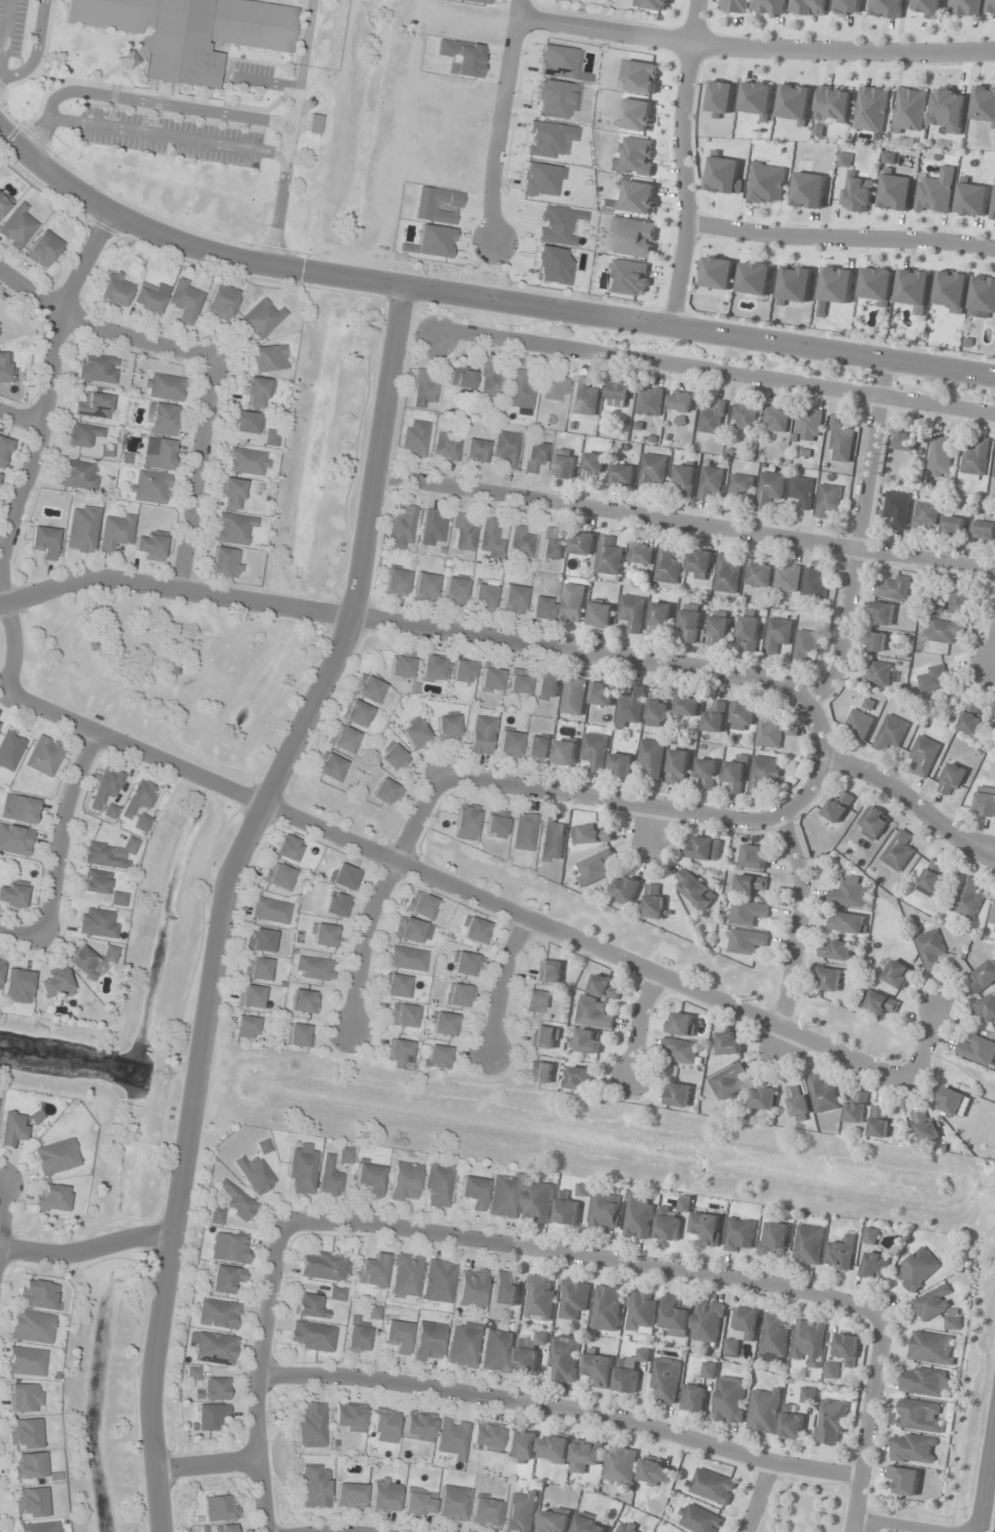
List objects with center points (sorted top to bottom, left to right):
building: (650, 4)
building: (735, 6)
building: (771, 6)
building: (848, 7)
building: (965, 7)
building: (991, 7)
building: (887, 8)
building: (927, 8)
building: (187, 32)
road: (754, 48)
building: (554, 61)
building: (636, 77)
building: (553, 97)
building: (756, 98)
building: (720, 99)
building: (794, 102)
building: (984, 104)
building: (833, 105)
building: (871, 109)
building: (908, 110)
building: (635, 114)
building: (314, 123)
road: (499, 123)
building: (548, 139)
building: (844, 159)
road: (681, 165)
building: (724, 175)
building: (540, 178)
building: (766, 183)
building: (808, 190)
building: (895, 192)
building: (857, 193)
building: (935, 193)
building: (972, 199)
building: (3, 202)
building: (993, 212)
building: (17, 227)
building: (633, 237)
road: (839, 239)
building: (43, 248)
building: (717, 272)
building: (754, 278)
building: (876, 284)
building: (836, 285)
building: (794, 286)
building: (115, 289)
building: (913, 289)
building: (951, 291)
building: (149, 296)
building: (982, 297)
building: (185, 300)
building: (220, 301)
road: (480, 301)
building: (261, 319)
road: (100, 329)
building: (268, 358)
building: (6, 367)
building: (97, 368)
road: (714, 370)
building: (462, 378)
building: (490, 384)
building: (164, 387)
building: (555, 387)
building: (522, 389)
building: (423, 390)
building: (257, 391)
building: (619, 391)
building: (585, 397)
building: (649, 401)
building: (681, 402)
building: (93, 406)
road: (21, 416)
building: (744, 416)
building: (160, 419)
building: (712, 419)
building: (775, 419)
building: (247, 422)
building: (808, 424)
building: (83, 435)
building: (271, 437)
building: (415, 437)
building: (840, 441)
building: (905, 442)
building: (446, 445)
building: (507, 448)
road: (38, 449)
building: (3, 450)
building: (475, 451)
building: (158, 453)
building: (534, 456)
building: (938, 458)
building: (974, 460)
building: (247, 461)
building: (563, 464)
building: (593, 467)
building: (652, 471)
building: (994, 473)
building: (78, 475)
road: (195, 475)
building: (622, 476)
building: (684, 480)
building: (709, 481)
building: (149, 487)
building: (740, 487)
building: (769, 489)
building: (801, 491)
building: (231, 494)
building: (828, 502)
building: (896, 509)
building: (923, 514)
road: (684, 522)
building: (954, 525)
building: (433, 526)
building: (82, 528)
building: (233, 528)
building: (402, 528)
building: (983, 528)
building: (116, 531)
building: (463, 532)
building: (490, 540)
road: (857, 540)
building: (44, 542)
building: (520, 542)
building: (582, 543)
building: (150, 545)
building: (550, 546)
building: (640, 554)
building: (609, 557)
building: (225, 563)
building: (699, 564)
building: (667, 566)
building: (757, 572)
building: (727, 575)
building: (787, 577)
building: (396, 582)
building: (813, 585)
building: (424, 587)
building: (892, 588)
building: (454, 591)
building: (484, 595)
building: (513, 599)
building: (572, 603)
building: (958, 603)
building: (541, 609)
building: (632, 613)
building: (881, 614)
building: (600, 615)
building: (660, 620)
building: (690, 622)
building: (718, 627)
road: (434, 628)
building: (778, 631)
building: (943, 631)
building: (748, 634)
building: (876, 641)
building: (805, 646)
road: (993, 648)
building: (400, 666)
building: (431, 669)
building: (462, 671)
park: (174, 673)
building: (879, 674)
building: (490, 678)
building: (933, 679)
building: (518, 681)
building: (546, 687)
building: (367, 688)
building: (603, 694)
building: (574, 696)
building: (687, 704)
building: (631, 705)
building: (744, 713)
building: (357, 714)
building: (971, 717)
building: (715, 718)
building: (858, 724)
building: (447, 728)
building: (768, 729)
building: (891, 733)
building: (415, 734)
building: (481, 735)
building: (343, 739)
building: (509, 744)
building: (537, 749)
building: (10, 750)
building: (595, 751)
building: (565, 753)
building: (924, 755)
building: (44, 756)
building: (651, 757)
building: (393, 758)
building: (621, 763)
building: (678, 767)
building: (331, 768)
building: (706, 772)
building: (763, 773)
building: (736, 774)
building: (951, 778)
building: (106, 787)
building: (386, 793)
road: (902, 797)
building: (139, 799)
road: (597, 799)
building: (985, 802)
building: (837, 808)
building: (18, 809)
building: (110, 813)
building: (465, 822)
building: (142, 823)
building: (873, 823)
building: (495, 824)
road: (61, 831)
building: (524, 831)
building: (594, 834)
building: (15, 840)
building: (551, 841)
road: (987, 845)
building: (287, 848)
building: (705, 849)
building: (898, 851)
building: (110, 854)
road: (986, 856)
building: (752, 857)
building: (594, 868)
building: (279, 876)
building: (344, 877)
building: (932, 879)
building: (95, 881)
building: (749, 884)
road: (456, 889)
building: (625, 890)
building: (695, 890)
building: (850, 893)
building: (12, 896)
road: (224, 897)
building: (118, 899)
building: (969, 899)
building: (653, 904)
building: (335, 905)
building: (421, 905)
building: (270, 910)
building: (747, 913)
road: (795, 918)
building: (994, 920)
building: (846, 922)
building: (97, 923)
building: (474, 930)
building: (412, 931)
road: (23, 932)
building: (323, 935)
building: (260, 940)
road: (363, 942)
building: (746, 942)
building: (930, 949)
building: (836, 951)
building: (407, 959)
building: (90, 961)
building: (465, 964)
building: (0, 965)
building: (313, 968)
building: (258, 969)
building: (548, 971)
building: (897, 974)
building: (982, 977)
road: (500, 979)
building: (828, 979)
building: (55, 984)
building: (17, 986)
building: (396, 986)
building: (604, 987)
building: (459, 995)
building: (252, 997)
building: (302, 1001)
building: (535, 1002)
building: (878, 1002)
building: (987, 1009)
building: (404, 1015)
building: (593, 1015)
road: (636, 1019)
building: (443, 1024)
building: (680, 1024)
building: (245, 1027)
building: (298, 1035)
building: (544, 1037)
road: (776, 1039)
road: (925, 1040)
building: (585, 1041)
building: (728, 1043)
building: (977, 1050)
building: (680, 1051)
building: (398, 1053)
building: (437, 1056)
building: (539, 1072)
building: (577, 1078)
building: (728, 1082)
building: (822, 1094)
building: (678, 1095)
building: (763, 1098)
building: (797, 1101)
building: (953, 1103)
building: (856, 1109)
building: (878, 1124)
building: (11, 1128)
building: (926, 1129)
building: (263, 1146)
building: (345, 1154)
building: (56, 1157)
building: (302, 1170)
building: (254, 1174)
road: (1, 1178)
building: (329, 1178)
building: (369, 1179)
building: (404, 1182)
building: (438, 1183)
building: (473, 1192)
building: (505, 1196)
building: (51, 1198)
building: (237, 1201)
building: (538, 1202)
road: (3, 1203)
building: (565, 1210)
building: (604, 1212)
building: (216, 1216)
building: (638, 1217)
building: (667, 1226)
building: (707, 1228)
building: (739, 1234)
building: (870, 1236)
building: (772, 1239)
building: (808, 1245)
road: (85, 1247)
building: (230, 1248)
building: (841, 1254)
road: (584, 1257)
building: (875, 1265)
building: (322, 1266)
building: (917, 1270)
building: (372, 1271)
building: (405, 1276)
building: (224, 1279)
building: (438, 1282)
building: (471, 1288)
building: (504, 1290)
building: (336, 1293)
building: (38, 1294)
building: (539, 1299)
building: (573, 1299)
building: (309, 1307)
building: (606, 1308)
building: (937, 1308)
building: (641, 1313)
building: (217, 1314)
building: (675, 1316)
building: (707, 1322)
building: (32, 1327)
building: (742, 1330)
building: (397, 1335)
building: (774, 1335)
building: (312, 1336)
building: (356, 1336)
building: (427, 1341)
building: (809, 1343)
building: (463, 1344)
building: (214, 1348)
building: (930, 1348)
building: (847, 1349)
building: (496, 1351)
building: (524, 1358)
building: (564, 1360)
building: (25, 1361)
building: (598, 1370)
building: (708, 1370)
building: (629, 1371)
building: (831, 1371)
road: (257, 1377)
building: (665, 1381)
building: (925, 1382)
building: (212, 1389)
building: (808, 1395)
building: (25, 1398)
building: (693, 1398)
building: (730, 1401)
road: (561, 1408)
building: (764, 1410)
building: (209, 1416)
building: (918, 1416)
building: (349, 1418)
building: (791, 1423)
building: (831, 1423)
road: (865, 1424)
building: (312, 1425)
building: (383, 1426)
building: (418, 1426)
building: (25, 1433)
building: (452, 1437)
building: (486, 1438)
building: (519, 1446)
building: (553, 1449)
building: (912, 1449)
building: (585, 1456)
road: (207, 1463)
building: (29, 1466)
building: (620, 1466)
building: (655, 1472)
road: (986, 1478)
building: (903, 1480)
building: (315, 1486)
building: (712, 1487)
building: (349, 1495)
building: (384, 1495)
road: (756, 1496)
building: (31, 1502)
building: (418, 1502)
building: (453, 1503)
park: (803, 1506)
building: (220, 1508)
building: (486, 1511)
building: (521, 1511)
building: (698, 1519)
building: (554, 1520)
building: (588, 1525)
road: (901, 1525)
building: (41, 1527)
building: (628, 1527)
building: (227, 1528)
road: (323, 1531)

